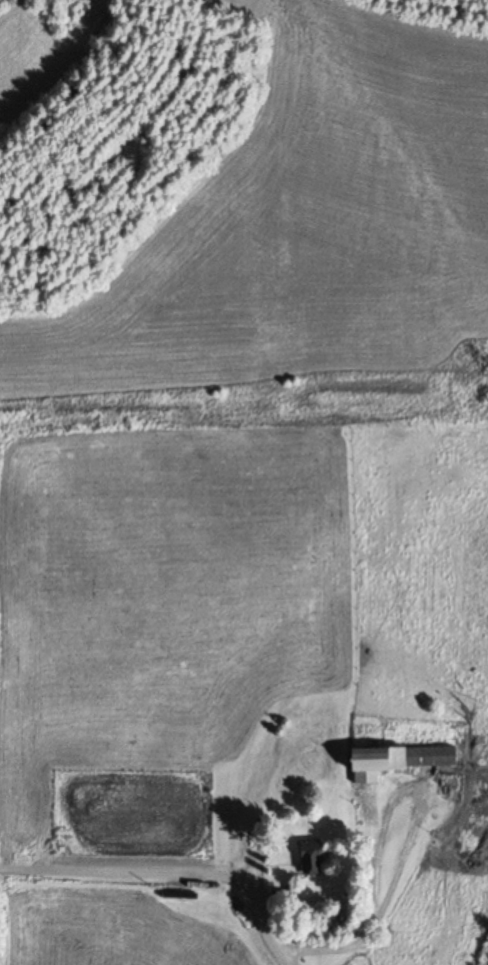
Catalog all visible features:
building: (365, 799)
building: (309, 858)
road: (168, 871)

